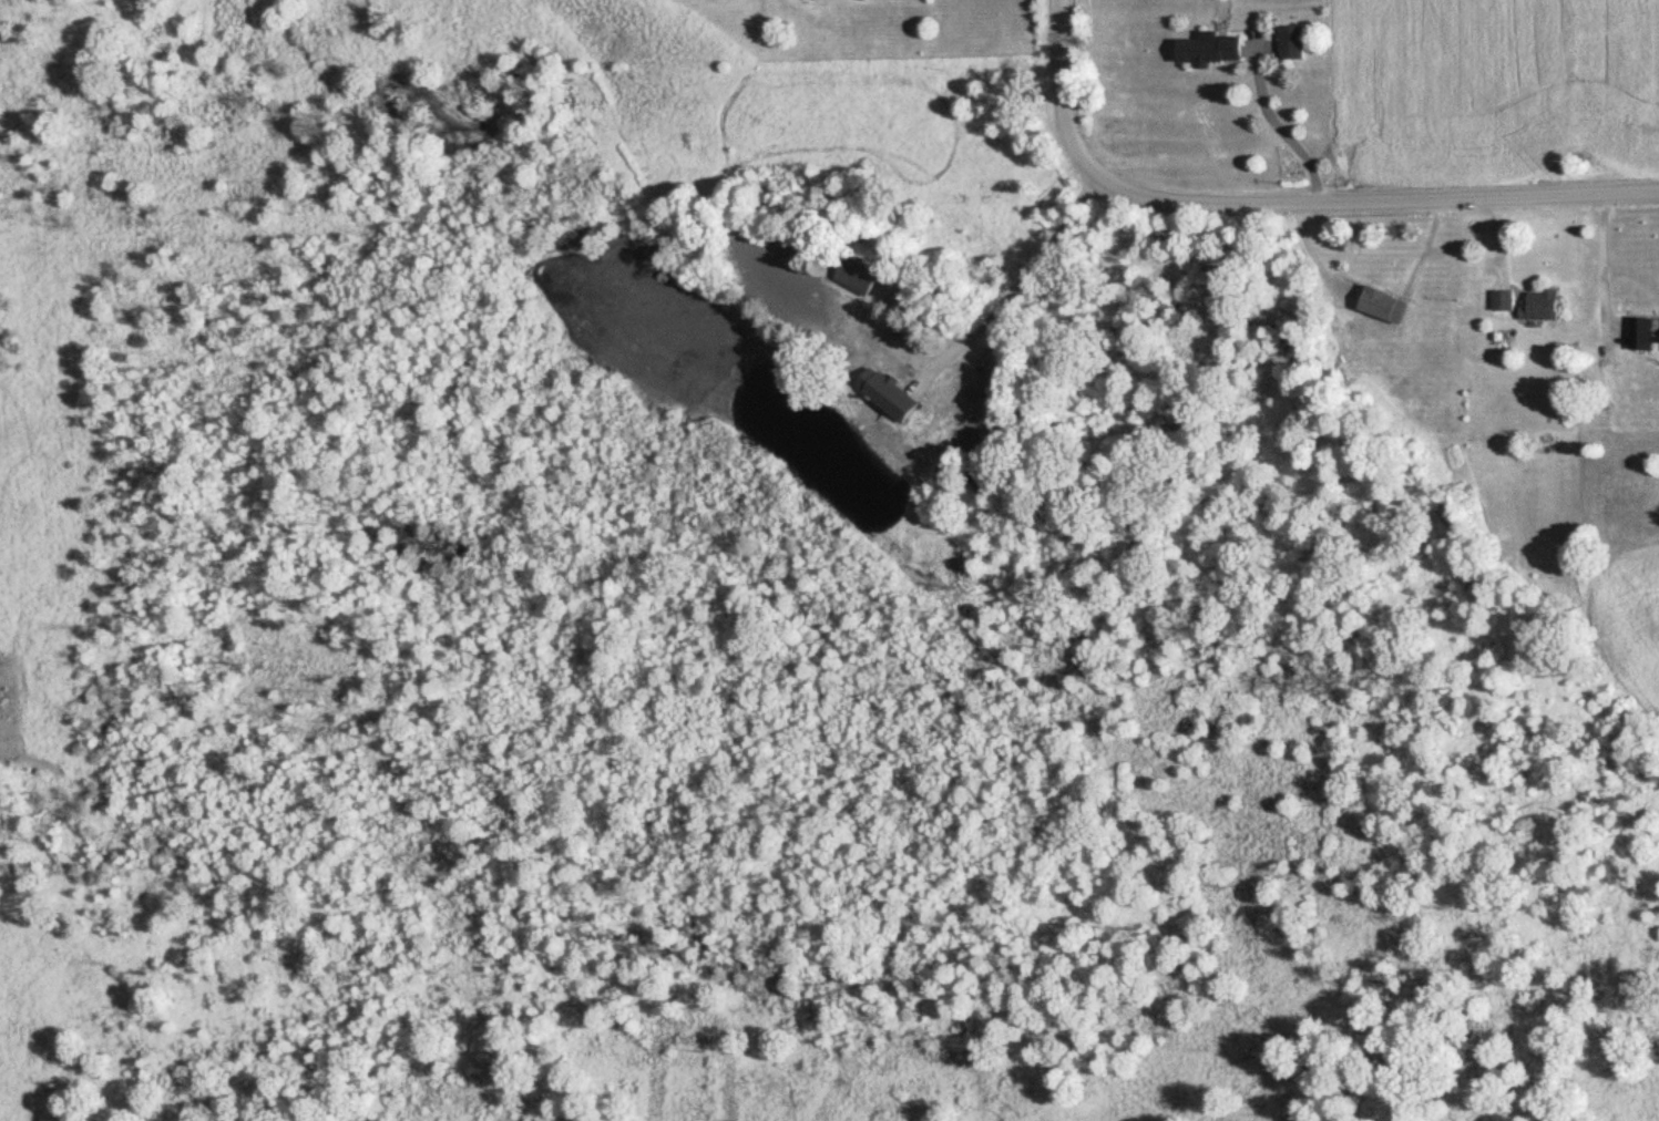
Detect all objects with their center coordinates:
building: (1291, 41)
building: (1210, 48)
road: (1283, 136)
road: (1273, 219)
building: (856, 275)
road: (1600, 281)
road: (1012, 288)
building: (1503, 299)
building: (1539, 304)
building: (1383, 305)
building: (1642, 333)
building: (903, 383)

